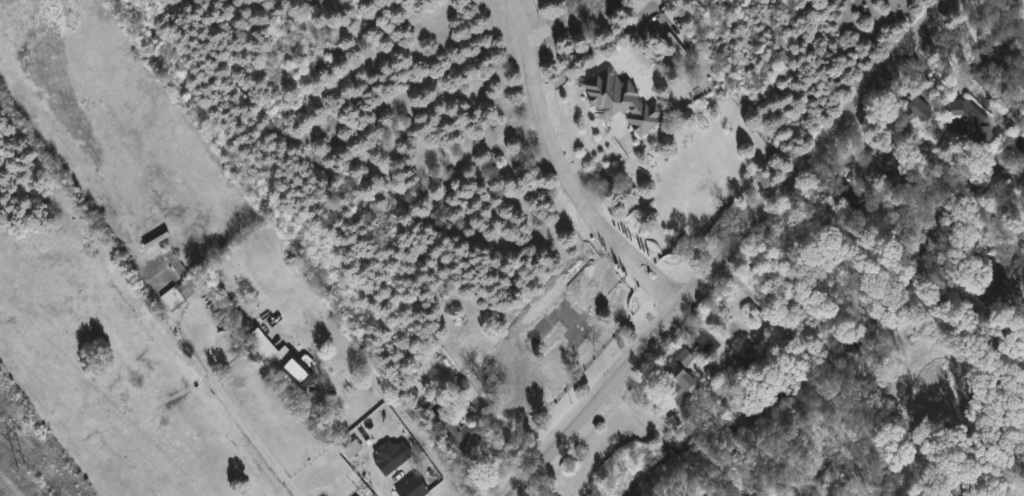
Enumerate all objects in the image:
building: (674, 46)
building: (995, 56)
building: (622, 101)
building: (921, 110)
building: (972, 118)
road: (612, 136)
road: (569, 170)
building: (899, 171)
building: (852, 201)
road: (731, 249)
building: (1000, 284)
building: (184, 292)
building: (243, 321)
building: (1001, 335)
building: (744, 351)
road: (813, 358)
building: (285, 361)
building: (713, 371)
building: (683, 374)
building: (931, 384)
road: (401, 412)
road: (243, 418)
building: (463, 432)
road: (660, 440)
building: (354, 449)
building: (393, 460)
road: (376, 486)
building: (413, 487)

